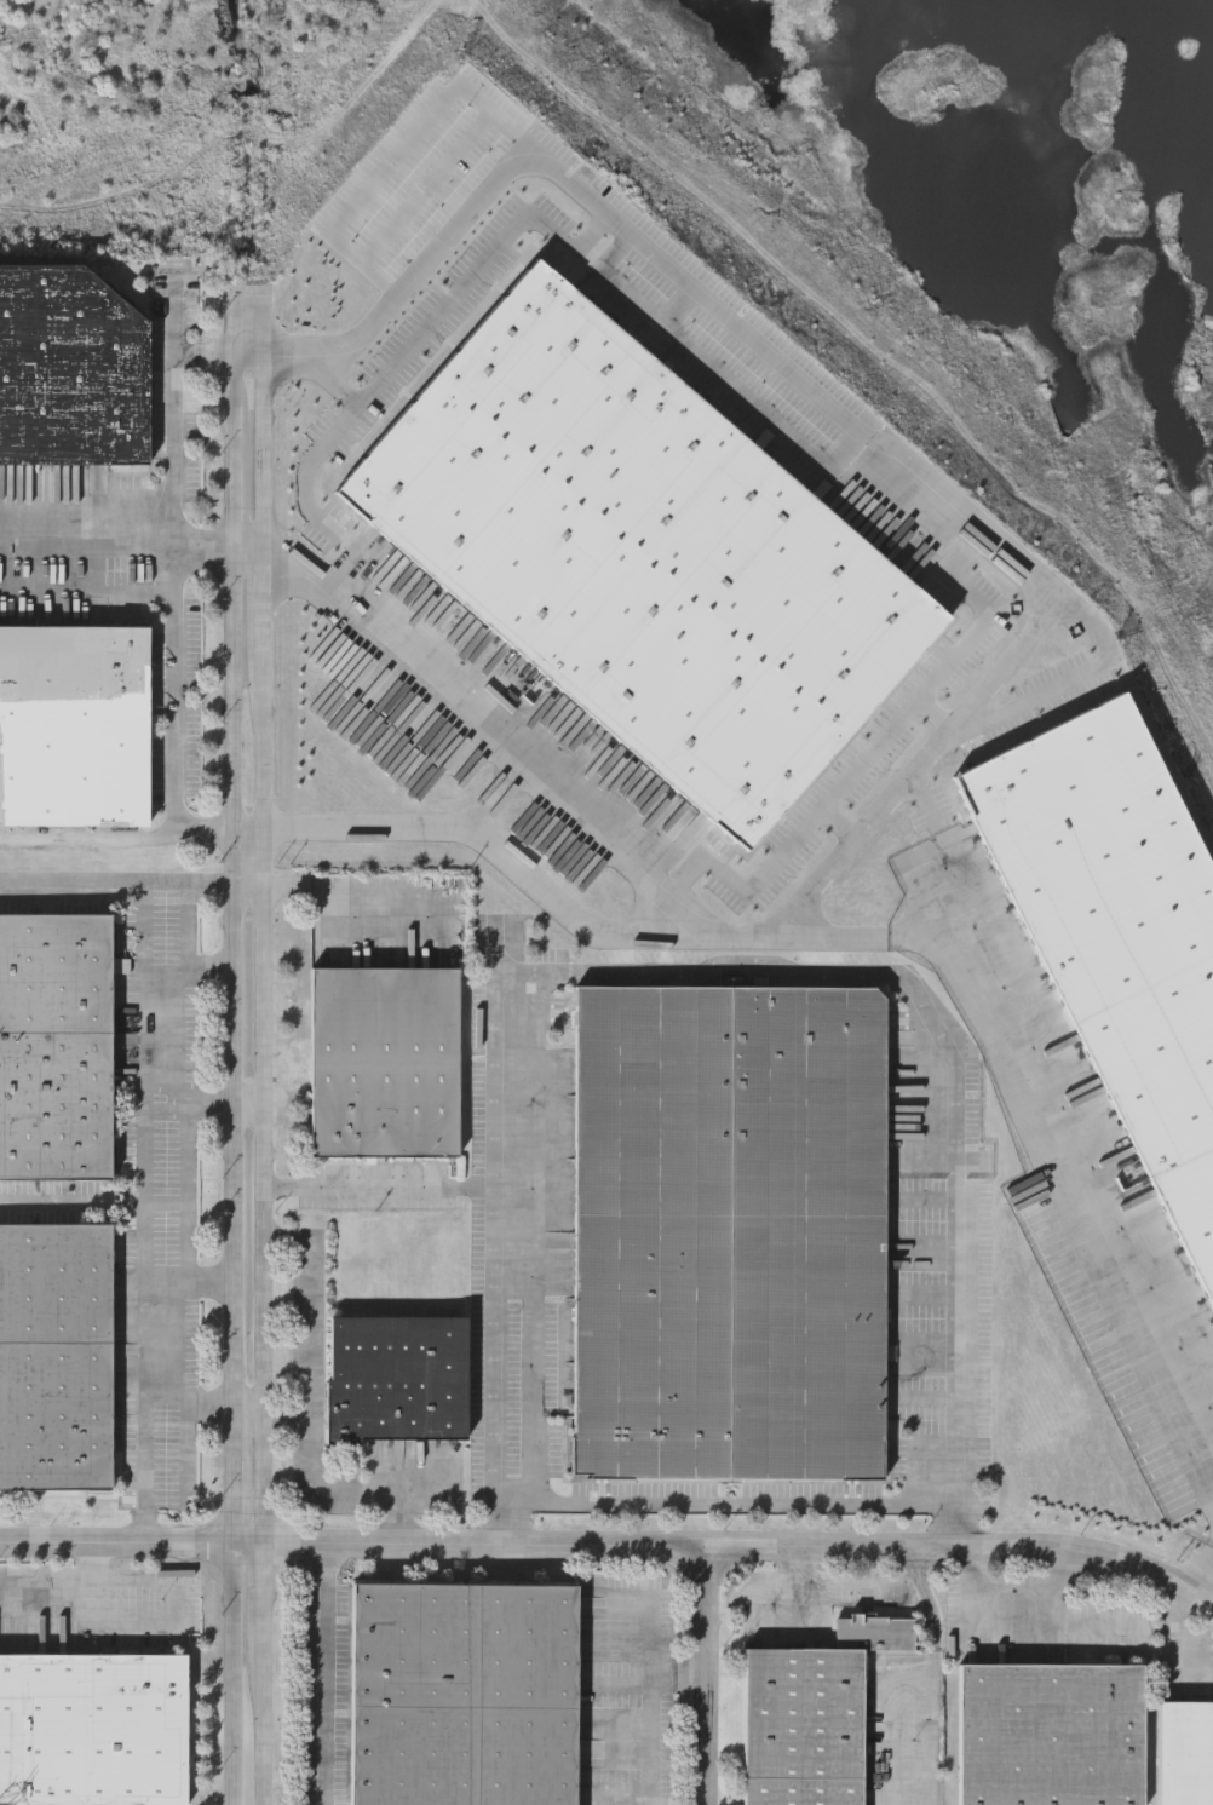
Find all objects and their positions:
road: (407, 153)
road: (461, 288)
road: (207, 351)
building: (70, 373)
road: (822, 413)
road: (119, 547)
building: (633, 551)
road: (253, 554)
road: (173, 558)
building: (75, 725)
road: (933, 725)
road: (1142, 738)
road: (869, 765)
road: (499, 800)
road: (251, 834)
road: (839, 835)
road: (119, 838)
road: (504, 850)
road: (117, 880)
road: (251, 889)
road: (356, 898)
road: (189, 925)
building: (1115, 937)
road: (828, 943)
road: (190, 968)
road: (723, 973)
road: (264, 1045)
building: (56, 1048)
building: (383, 1062)
road: (232, 1069)
road: (186, 1099)
road: (248, 1100)
road: (380, 1188)
road: (145, 1212)
building: (728, 1229)
road: (188, 1282)
road: (314, 1326)
building: (56, 1355)
building: (395, 1378)
road: (186, 1403)
road: (248, 1415)
road: (347, 1493)
road: (722, 1501)
road: (398, 1518)
road: (130, 1545)
road: (742, 1547)
road: (856, 1583)
road: (62, 1586)
road: (1206, 1591)
road: (1011, 1593)
road: (1180, 1634)
road: (650, 1639)
road: (326, 1674)
road: (702, 1675)
road: (676, 1682)
building: (467, 1702)
building: (93, 1730)
building: (809, 1730)
building: (1059, 1738)
road: (649, 1743)
building: (1190, 1758)
road: (935, 1776)
road: (915, 1801)

